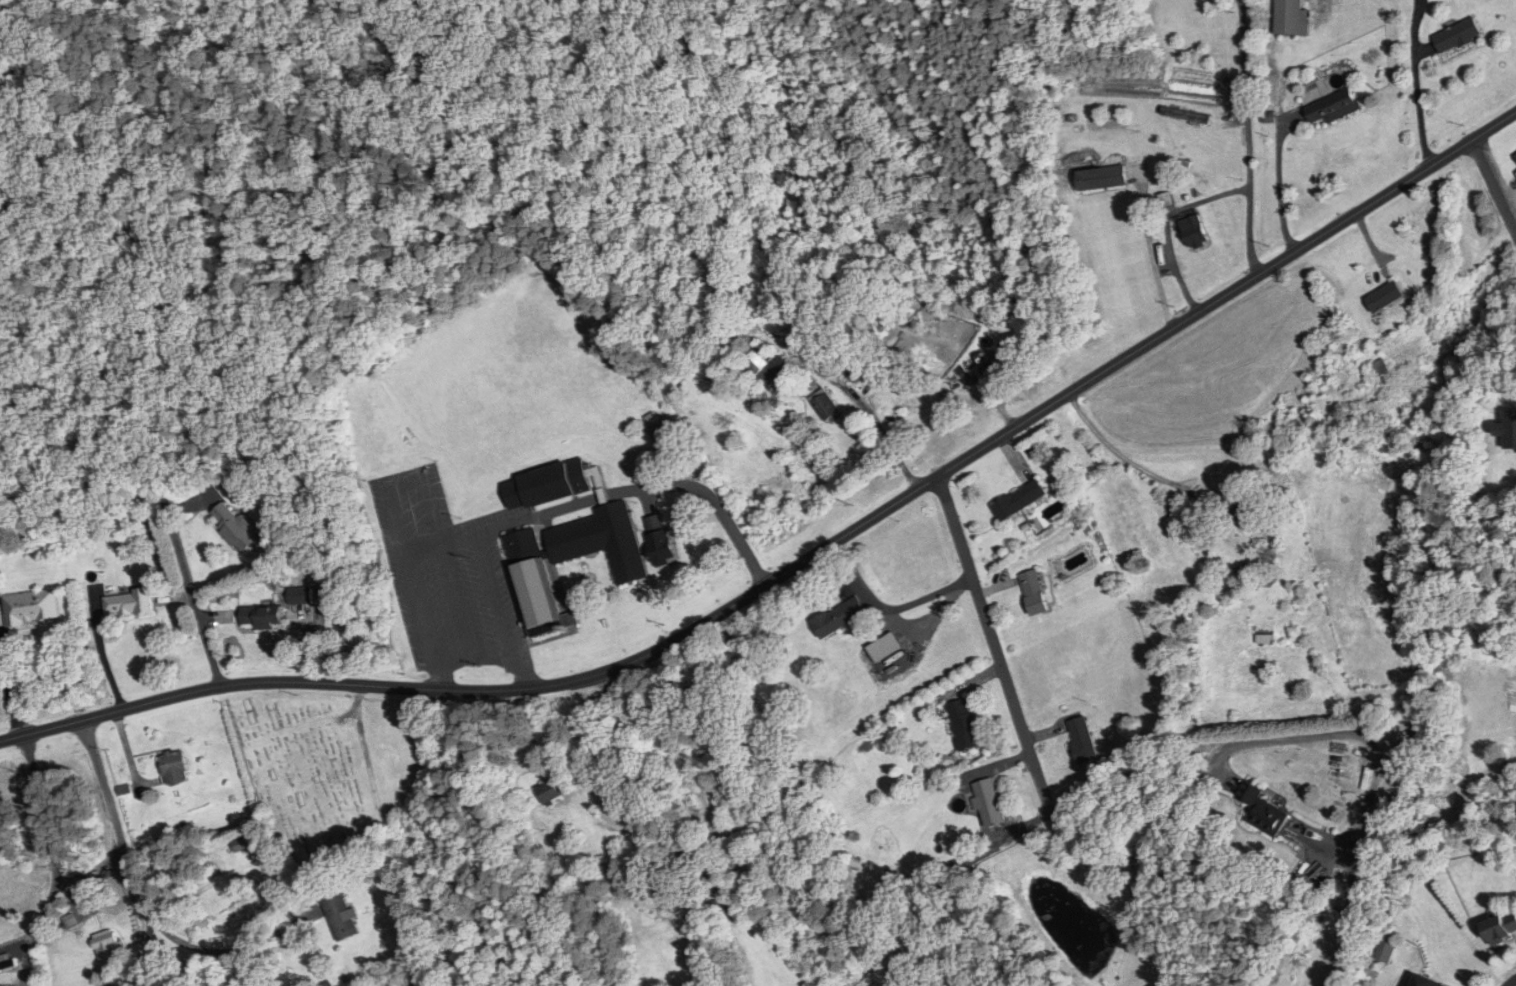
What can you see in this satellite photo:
building: (1290, 18)
building: (1456, 36)
road: (1417, 106)
building: (1332, 107)
road: (1246, 138)
building: (1514, 158)
building: (1101, 177)
road: (1494, 186)
road: (1277, 188)
building: (1193, 231)
road: (1158, 254)
road: (1184, 283)
building: (1385, 296)
building: (1379, 367)
building: (765, 368)
building: (825, 405)
building: (1507, 430)
building: (545, 485)
building: (1019, 499)
road: (713, 500)
building: (234, 526)
building: (600, 541)
road: (452, 542)
building: (660, 547)
road: (803, 561)
building: (1239, 573)
road: (187, 579)
building: (535, 584)
building: (1033, 592)
building: (299, 595)
building: (126, 603)
building: (30, 607)
building: (262, 616)
building: (1496, 616)
building: (838, 617)
road: (101, 649)
road: (474, 660)
road: (9, 697)
road: (1014, 707)
building: (964, 724)
building: (1082, 740)
road: (1240, 747)
building: (173, 767)
building: (548, 791)
building: (987, 802)
building: (1263, 813)
building: (240, 844)
road: (124, 852)
road: (53, 860)
building: (690, 860)
building: (558, 878)
building: (339, 916)
road: (39, 924)
building: (1500, 927)
building: (106, 944)
building: (5, 961)
building: (1423, 981)
road: (1511, 982)

